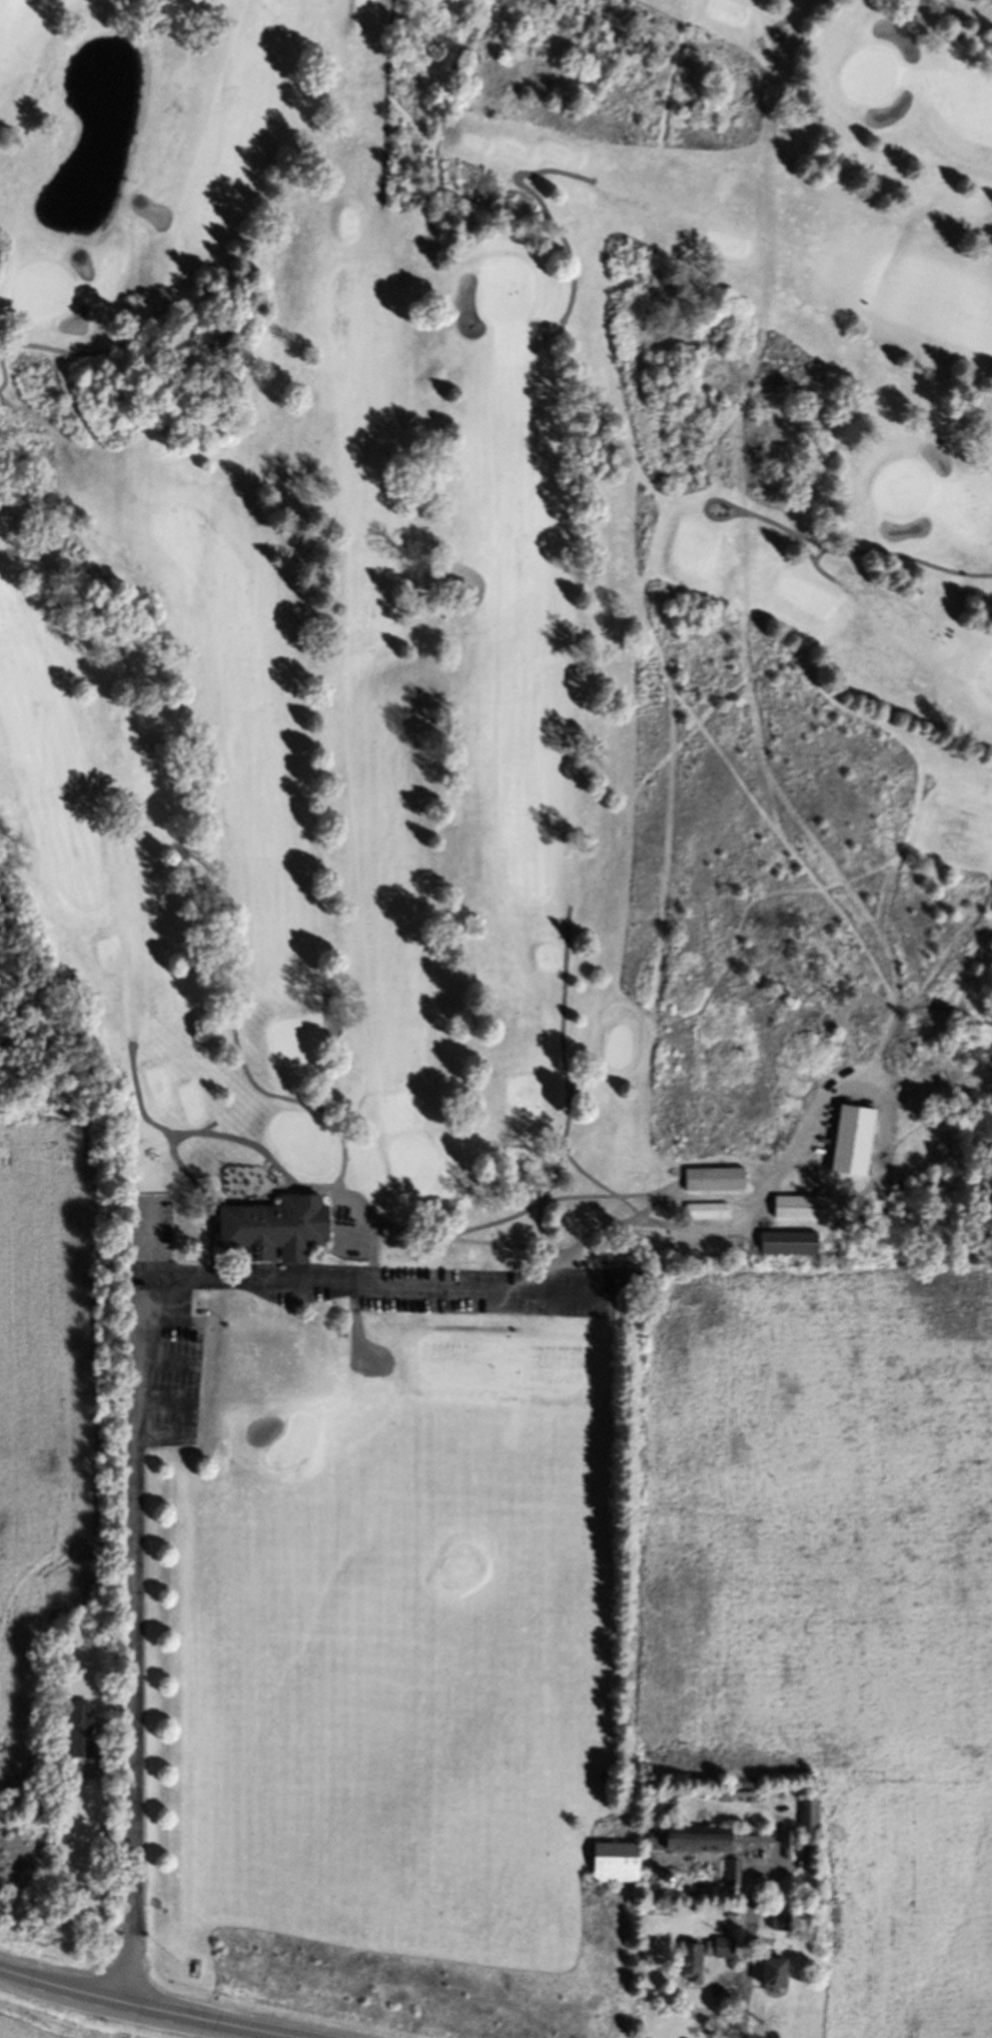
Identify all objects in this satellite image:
road: (955, 17)
road: (389, 106)
road: (544, 214)
road: (67, 355)
road: (755, 518)
park: (480, 886)
building: (848, 1144)
road: (556, 1173)
building: (711, 1182)
road: (303, 1191)
road: (605, 1199)
road: (625, 1205)
building: (800, 1209)
building: (705, 1214)
road: (346, 1225)
building: (270, 1232)
building: (787, 1246)
road: (372, 1252)
road: (547, 1253)
road: (551, 1273)
road: (373, 1285)
building: (624, 1285)
road: (477, 1333)
road: (360, 1352)
building: (262, 1355)
road: (132, 1595)
building: (77, 1734)
building: (806, 1824)
building: (701, 1842)
building: (603, 1868)
building: (732, 1877)
building: (779, 1924)
building: (722, 1952)
building: (689, 1967)
road: (742, 1977)
building: (769, 1977)
road: (142, 2009)

